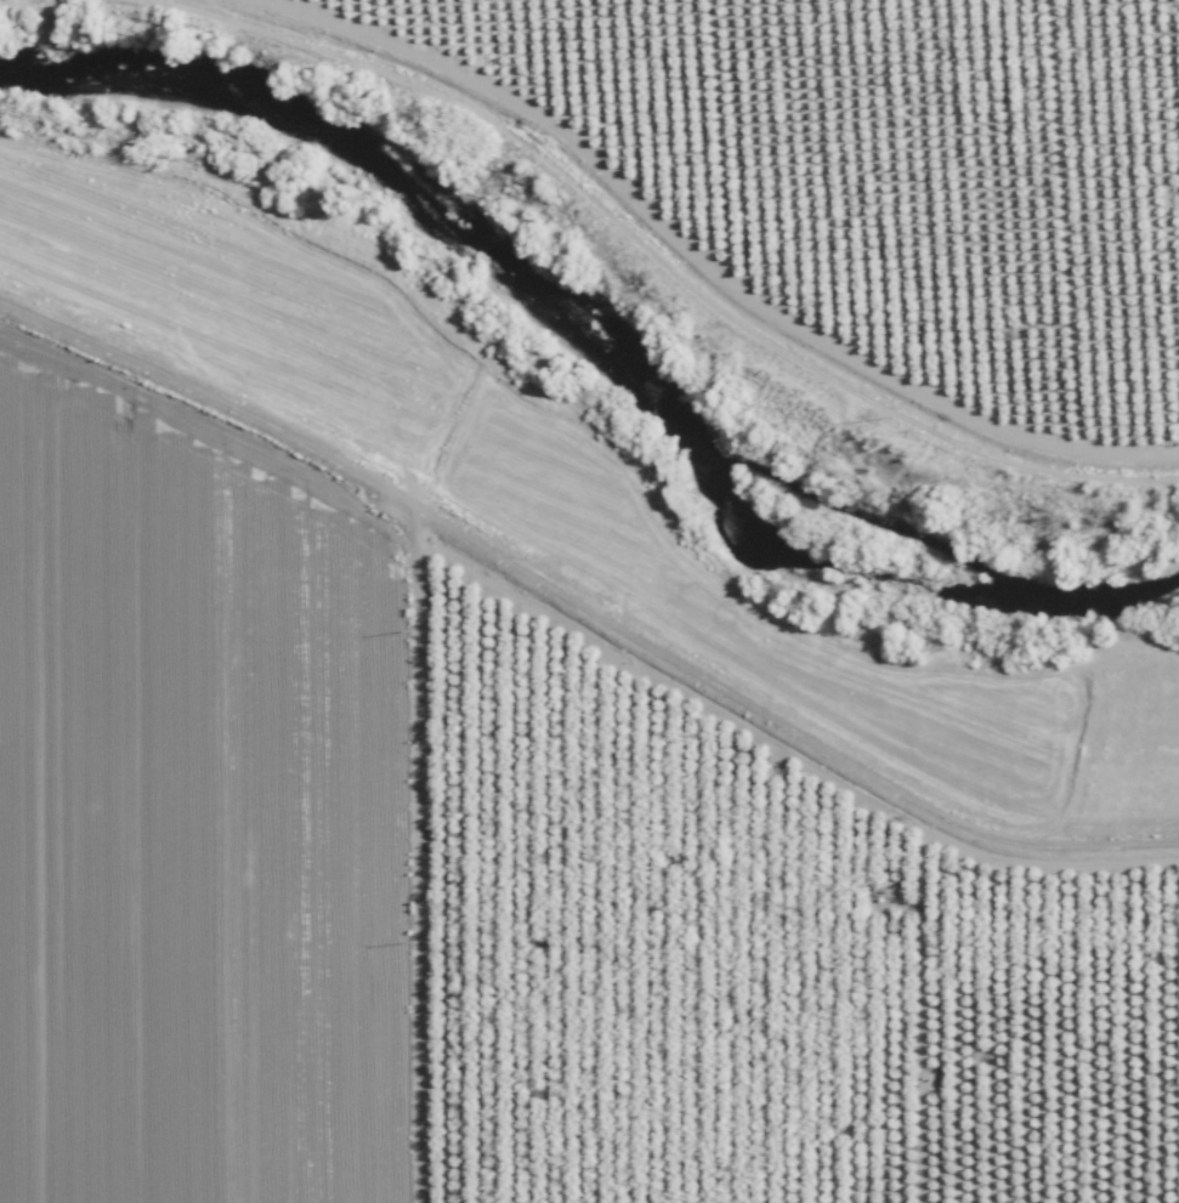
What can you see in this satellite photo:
road: (568, 56)
crop: (882, 175)
river: (591, 313)
road: (583, 600)
crop: (203, 808)

